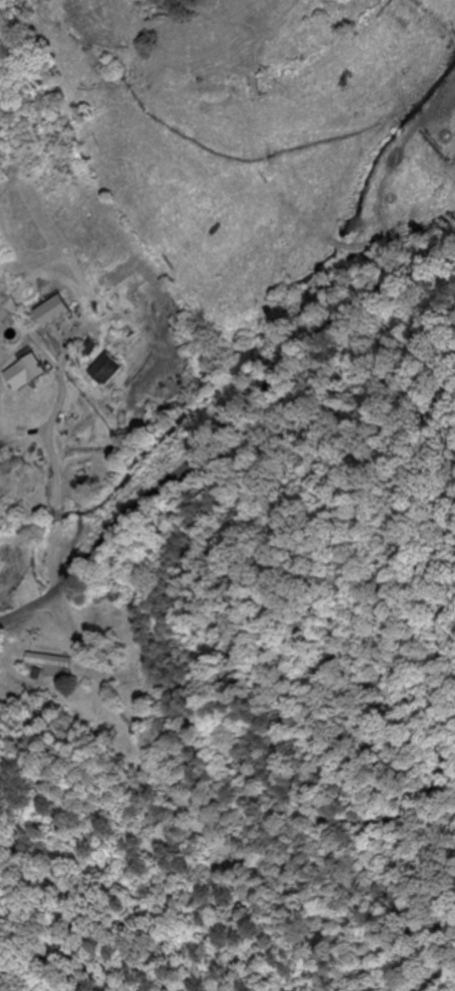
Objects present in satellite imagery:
building: (52, 311)
building: (103, 371)
building: (24, 375)
road: (222, 426)
building: (51, 663)
road: (311, 714)

